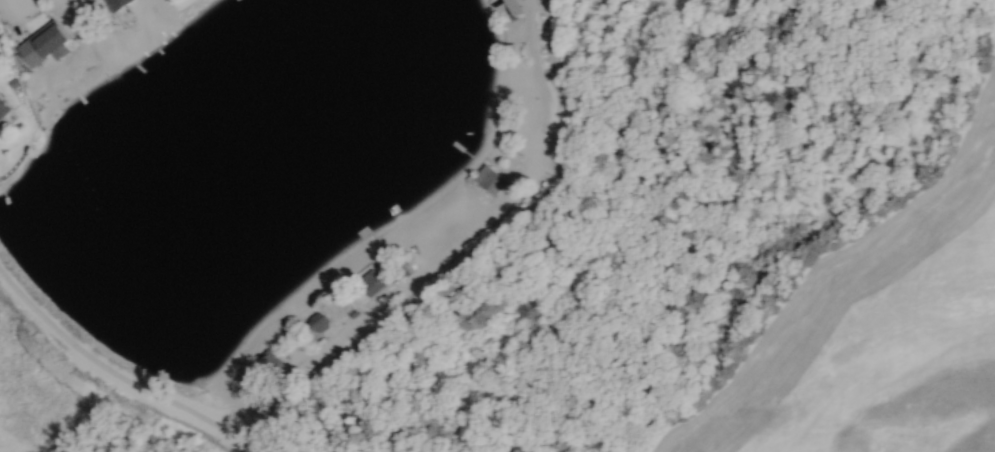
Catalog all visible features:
building: (121, 5)
building: (509, 9)
building: (0, 22)
building: (49, 48)
building: (5, 108)
building: (489, 180)
building: (426, 243)
road: (453, 247)
building: (374, 282)
building: (320, 323)
road: (103, 366)

